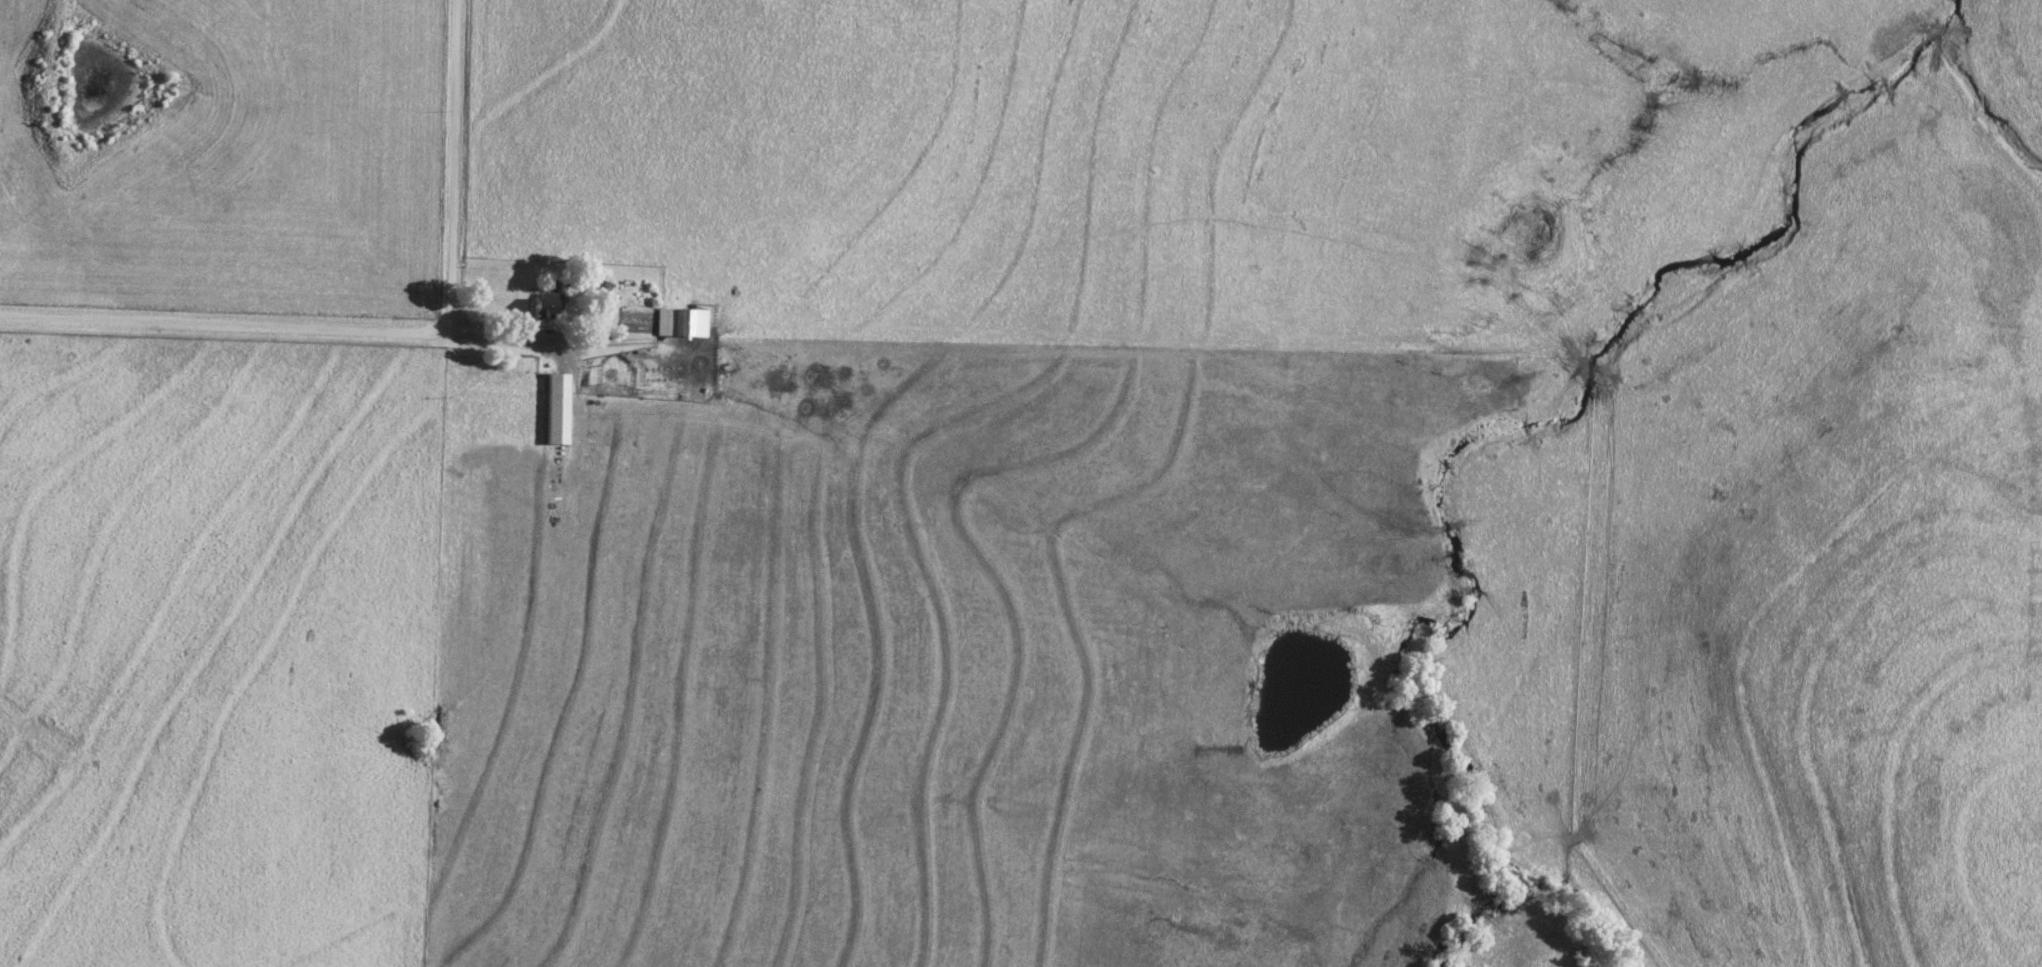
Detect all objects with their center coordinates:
road: (458, 167)
building: (548, 304)
building: (683, 321)
road: (226, 329)
road: (586, 339)
building: (559, 407)

